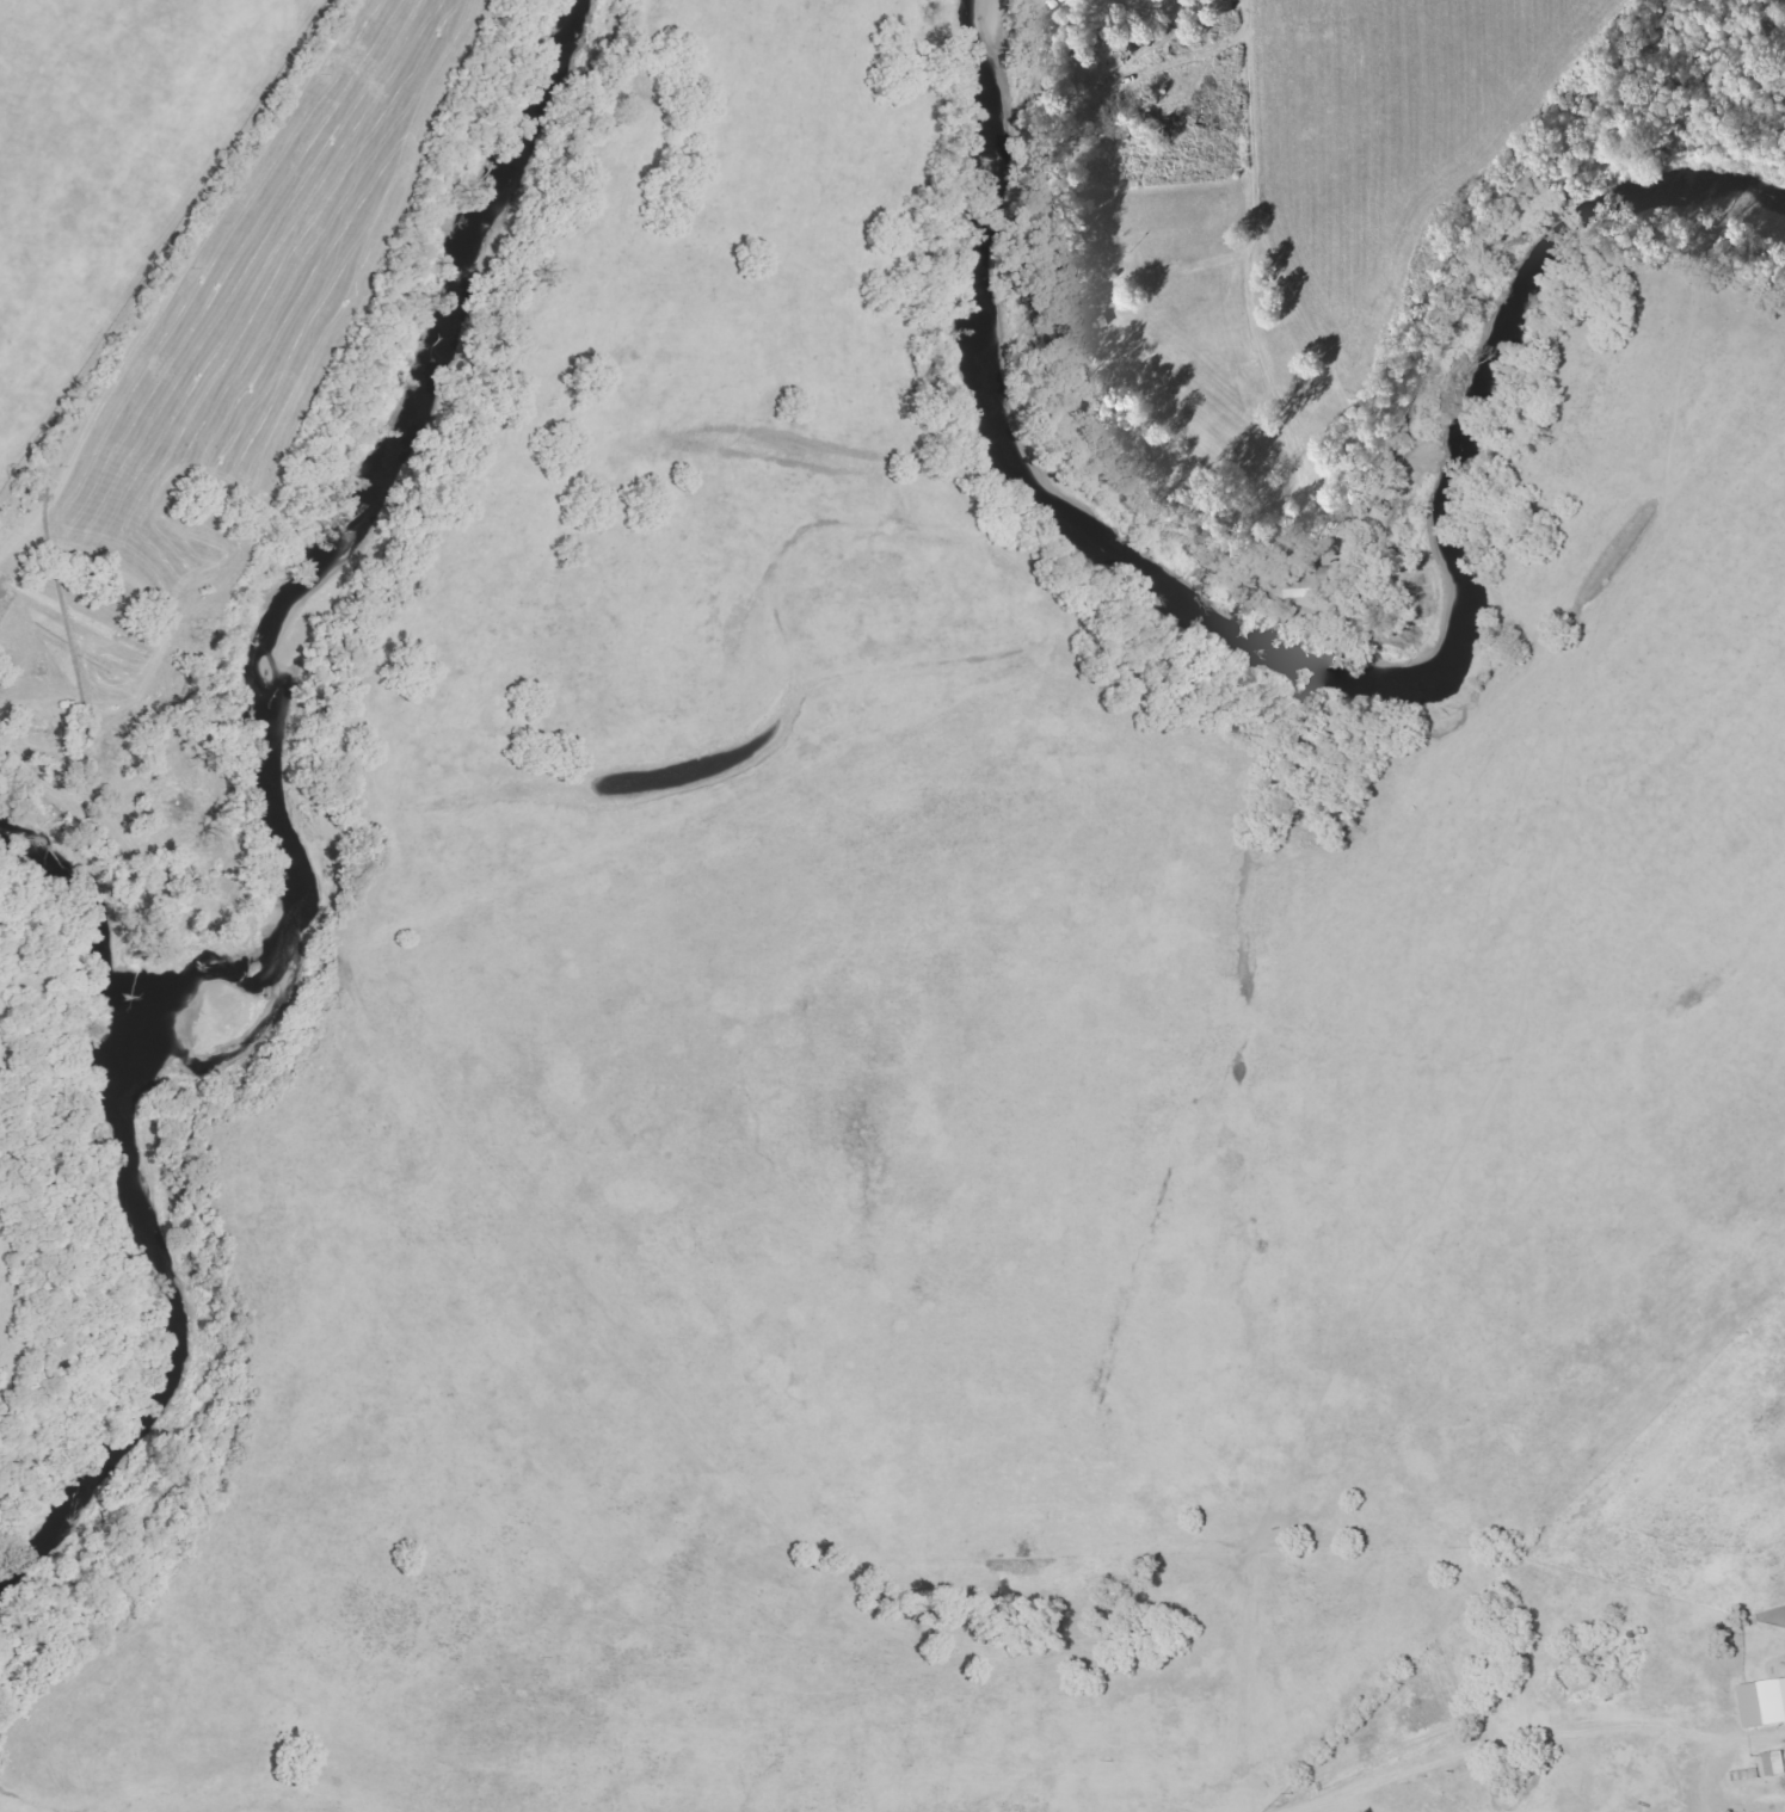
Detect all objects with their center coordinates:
road: (1247, 247)
building: (1310, 580)
river: (1318, 664)
river: (285, 677)
building: (1765, 1702)
road: (1655, 1715)

